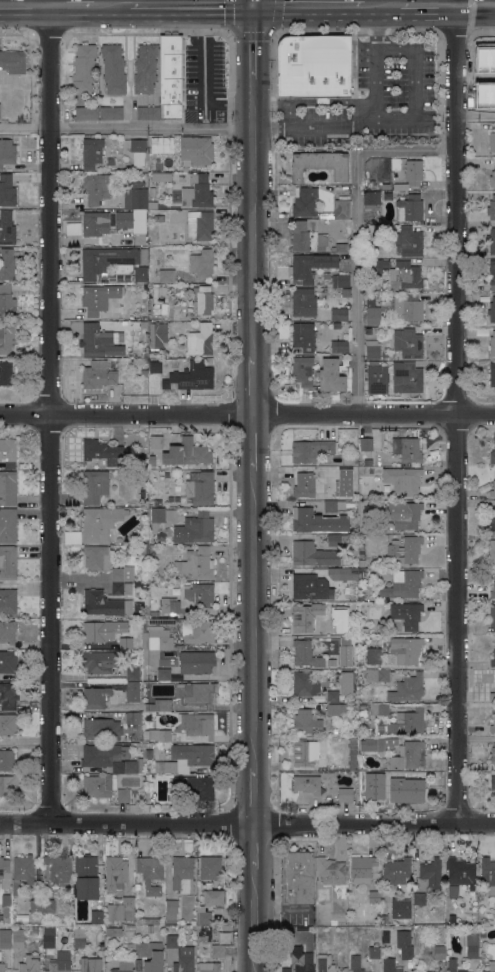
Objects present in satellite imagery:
road: (147, 2)
road: (253, 2)
road: (473, 2)
road: (25, 4)
road: (72, 4)
road: (112, 4)
road: (191, 4)
traffic signals: (253, 4)
road: (308, 4)
road: (381, 4)
road: (435, 4)
road: (483, 5)
road: (253, 41)
building: (13, 61)
building: (488, 62)
building: (314, 66)
building: (113, 68)
building: (84, 69)
building: (145, 69)
building: (171, 75)
road: (417, 87)
building: (354, 102)
building: (86, 113)
building: (111, 113)
building: (148, 113)
road: (477, 117)
road: (375, 125)
road: (126, 127)
building: (158, 139)
building: (492, 141)
building: (168, 145)
building: (194, 149)
building: (7, 152)
building: (92, 152)
building: (138, 152)
building: (319, 164)
building: (411, 174)
building: (161, 177)
building: (492, 180)
building: (385, 186)
building: (96, 187)
building: (7, 191)
building: (197, 192)
building: (136, 196)
building: (372, 198)
building: (305, 202)
building: (342, 206)
building: (409, 208)
building: (491, 208)
road: (253, 216)
building: (326, 216)
building: (159, 218)
building: (105, 222)
building: (200, 224)
building: (7, 228)
building: (72, 228)
road: (357, 231)
building: (306, 235)
building: (140, 239)
building: (409, 241)
building: (491, 241)
building: (340, 247)
building: (368, 249)
building: (143, 256)
building: (109, 263)
building: (202, 263)
building: (7, 264)
building: (376, 266)
building: (310, 267)
building: (140, 274)
building: (406, 275)
building: (492, 275)
building: (166, 276)
building: (326, 276)
building: (339, 280)
building: (328, 294)
building: (98, 297)
building: (159, 298)
building: (203, 299)
building: (7, 302)
building: (303, 302)
building: (323, 302)
building: (396, 310)
building: (492, 310)
building: (181, 314)
building: (339, 314)
building: (143, 324)
building: (366, 331)
building: (157, 334)
building: (304, 336)
building: (7, 337)
building: (97, 339)
building: (200, 340)
building: (371, 342)
building: (408, 343)
building: (492, 344)
building: (339, 346)
building: (373, 352)
building: (155, 367)
building: (302, 370)
building: (6, 373)
building: (144, 373)
building: (98, 375)
building: (492, 375)
building: (331, 376)
building: (190, 377)
building: (406, 377)
building: (377, 378)
road: (253, 385)
road: (55, 412)
road: (458, 413)
road: (247, 415)
building: (156, 442)
road: (253, 442)
building: (366, 444)
building: (310, 449)
building: (407, 449)
building: (8, 452)
building: (103, 452)
building: (191, 453)
building: (492, 455)
building: (152, 461)
building: (368, 462)
building: (334, 472)
building: (166, 474)
building: (403, 481)
building: (95, 486)
building: (308, 486)
building: (7, 488)
building: (200, 488)
building: (492, 490)
building: (170, 498)
building: (176, 499)
building: (157, 501)
building: (330, 507)
building: (408, 517)
building: (161, 518)
building: (492, 519)
building: (316, 521)
building: (100, 523)
building: (7, 525)
building: (195, 528)
building: (339, 539)
building: (130, 548)
building: (361, 550)
building: (404, 550)
building: (492, 552)
building: (313, 554)
building: (96, 558)
building: (8, 562)
building: (361, 563)
building: (196, 564)
building: (363, 572)
building: (343, 573)
building: (122, 574)
road: (79, 578)
building: (403, 584)
road: (27, 585)
building: (310, 587)
building: (121, 588)
building: (493, 591)
building: (200, 595)
building: (8, 601)
building: (105, 604)
building: (169, 606)
building: (406, 614)
road: (253, 618)
building: (305, 618)
building: (492, 618)
building: (161, 620)
building: (331, 625)
building: (97, 630)
building: (7, 631)
building: (198, 631)
building: (364, 631)
building: (159, 639)
building: (125, 642)
building: (136, 644)
building: (349, 647)
building: (406, 649)
building: (306, 654)
building: (374, 656)
building: (492, 660)
building: (8, 661)
building: (100, 661)
building: (196, 662)
building: (133, 673)
building: (164, 674)
building: (377, 674)
building: (346, 682)
building: (305, 684)
building: (407, 688)
building: (134, 691)
building: (197, 693)
building: (8, 695)
building: (332, 696)
building: (492, 696)
building: (96, 698)
building: (159, 705)
building: (335, 709)
building: (401, 717)
building: (134, 718)
building: (150, 721)
building: (306, 722)
building: (8, 724)
building: (493, 726)
building: (188, 727)
building: (101, 729)
building: (377, 744)
building: (305, 752)
building: (353, 754)
building: (493, 755)
building: (409, 756)
building: (110, 758)
building: (186, 758)
building: (8, 760)
building: (348, 776)
building: (307, 782)
building: (493, 783)
building: (349, 784)
building: (407, 784)
building: (9, 785)
building: (99, 785)
building: (194, 788)
building: (123, 795)
road: (253, 796)
building: (345, 796)
building: (372, 807)
road: (247, 825)
road: (253, 846)
building: (4, 867)
building: (210, 867)
building: (116, 869)
building: (362, 869)
building: (58, 870)
building: (331, 871)
building: (396, 871)
building: (461, 871)
building: (22, 872)
building: (150, 873)
building: (488, 873)
building: (182, 874)
building: (432, 875)
building: (86, 877)
building: (297, 877)
building: (453, 891)
building: (351, 895)
building: (374, 897)
building: (213, 898)
building: (420, 899)
building: (402, 902)
building: (35, 906)
building: (49, 906)
building: (6, 908)
building: (123, 910)
building: (171, 910)
building: (204, 915)
building: (97, 917)
building: (470, 917)
road: (253, 920)
building: (151, 921)
building: (149, 928)
building: (33, 930)
building: (114, 931)
building: (129, 932)
building: (48, 937)
building: (79, 937)
building: (385, 937)
building: (5, 938)
building: (18, 938)
building: (172, 941)
building: (404, 944)
building: (471, 945)
building: (129, 947)
building: (140, 950)
building: (217, 951)
building: (374, 952)
building: (439, 952)
building: (297, 953)
building: (63, 955)
building: (154, 958)
building: (355, 963)
building: (30, 964)
building: (184, 964)
building: (327, 964)
building: (91, 965)
building: (124, 965)
building: (390, 965)
building: (453, 965)
building: (59, 966)
building: (490, 966)
building: (2, 967)
building: (209, 967)
building: (424, 971)

